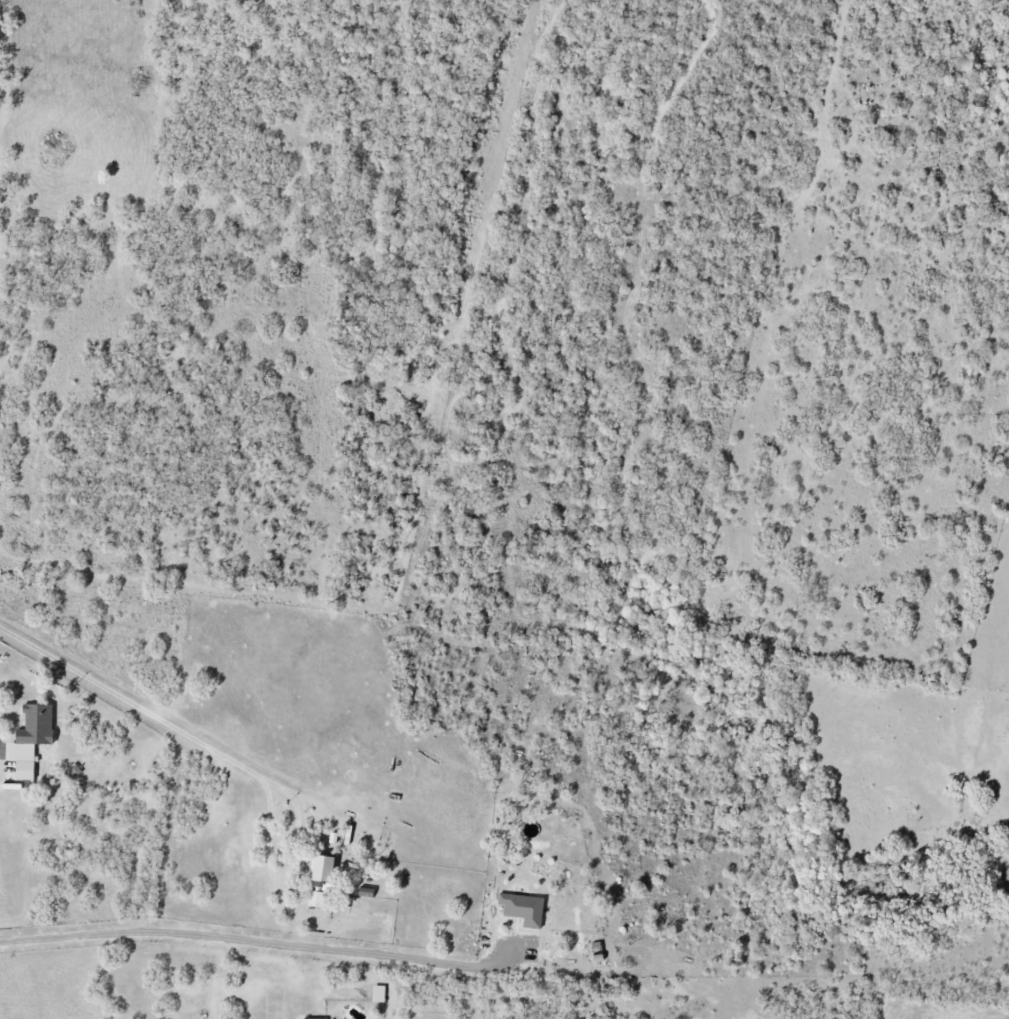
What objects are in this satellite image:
road: (147, 712)
building: (32, 740)
building: (326, 871)
building: (319, 900)
building: (524, 909)
road: (254, 941)
building: (380, 995)

